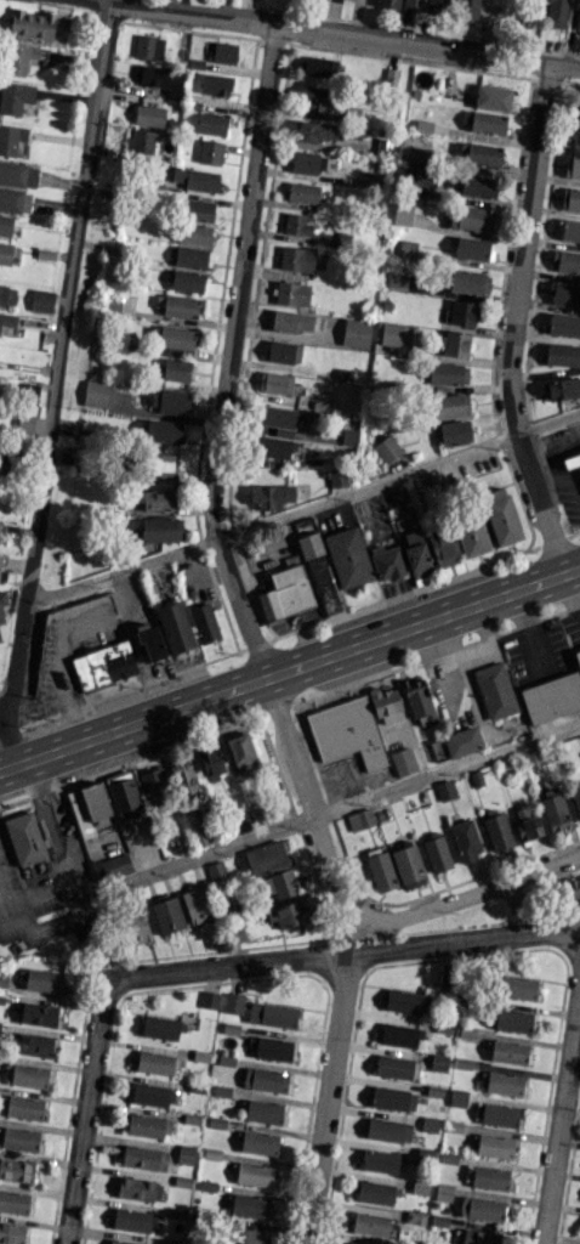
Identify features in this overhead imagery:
road: (124, 2)
building: (387, 4)
building: (413, 5)
building: (437, 6)
building: (467, 9)
building: (555, 12)
building: (36, 24)
road: (328, 32)
building: (148, 46)
building: (223, 52)
building: (19, 58)
building: (319, 66)
building: (158, 78)
building: (215, 84)
building: (15, 97)
building: (491, 97)
building: (313, 100)
building: (578, 108)
building: (148, 115)
building: (488, 121)
building: (211, 124)
building: (314, 131)
building: (575, 135)
building: (12, 140)
building: (140, 141)
building: (210, 152)
building: (481, 153)
building: (308, 162)
building: (573, 166)
building: (17, 174)
building: (195, 179)
building: (476, 185)
building: (302, 192)
building: (570, 199)
building: (15, 200)
building: (195, 209)
building: (476, 217)
building: (296, 224)
building: (5, 225)
building: (570, 230)
building: (194, 233)
building: (408, 248)
building: (471, 248)
building: (5, 253)
building: (189, 256)
building: (296, 259)
building: (565, 261)
building: (187, 281)
building: (468, 281)
building: (291, 293)
building: (7, 294)
building: (565, 294)
building: (41, 300)
building: (112, 301)
building: (177, 305)
building: (462, 312)
building: (7, 318)
building: (291, 321)
road: (517, 321)
building: (564, 324)
building: (356, 332)
building: (391, 333)
building: (172, 337)
building: (454, 344)
building: (283, 352)
building: (563, 355)
building: (176, 369)
road: (58, 373)
building: (448, 373)
building: (275, 383)
building: (561, 389)
building: (95, 394)
building: (167, 401)
building: (448, 406)
building: (279, 419)
building: (24, 423)
road: (548, 423)
building: (163, 430)
building: (453, 431)
road: (579, 435)
building: (349, 436)
road: (559, 442)
building: (388, 448)
building: (0, 451)
building: (572, 460)
building: (159, 463)
building: (336, 477)
road: (565, 477)
road: (215, 482)
road: (368, 485)
building: (399, 494)
building: (269, 496)
building: (158, 499)
building: (403, 515)
building: (500, 515)
building: (161, 530)
building: (471, 537)
building: (309, 544)
building: (443, 545)
building: (416, 554)
building: (348, 556)
building: (0, 559)
building: (387, 561)
road: (123, 569)
building: (285, 593)
building: (1, 604)
building: (205, 622)
building: (176, 627)
road: (68, 629)
building: (150, 643)
building: (578, 656)
building: (103, 665)
road: (289, 668)
building: (495, 690)
building: (552, 697)
building: (348, 733)
building: (462, 741)
building: (239, 747)
road: (6, 748)
building: (404, 762)
building: (211, 763)
building: (183, 776)
building: (154, 790)
building: (444, 790)
building: (123, 795)
building: (575, 797)
building: (96, 804)
road: (346, 804)
building: (553, 808)
building: (197, 827)
building: (528, 827)
building: (497, 829)
building: (24, 838)
building: (465, 839)
building: (436, 852)
building: (266, 858)
building: (110, 866)
building: (408, 866)
building: (215, 870)
building: (380, 871)
building: (283, 883)
road: (74, 888)
building: (572, 888)
road: (470, 892)
building: (197, 904)
building: (288, 914)
building: (166, 915)
building: (135, 927)
road: (358, 935)
road: (97, 948)
road: (343, 956)
building: (42, 980)
building: (4, 982)
building: (516, 986)
building: (210, 1000)
building: (409, 1001)
building: (234, 1003)
building: (38, 1013)
building: (272, 1014)
building: (513, 1020)
building: (161, 1027)
building: (231, 1028)
building: (400, 1035)
building: (33, 1045)
building: (273, 1048)
building: (507, 1052)
building: (201, 1056)
building: (227, 1059)
building: (438, 1062)
building: (154, 1063)
building: (397, 1067)
building: (25, 1075)
building: (265, 1079)
building: (500, 1082)
building: (153, 1095)
building: (457, 1097)
building: (393, 1098)
road: (329, 1099)
building: (23, 1107)
road: (559, 1109)
road: (87, 1110)
building: (262, 1112)
building: (499, 1114)
building: (147, 1126)
building: (387, 1130)
building: (18, 1138)
building: (258, 1143)
building: (491, 1146)
building: (186, 1153)
building: (143, 1158)
building: (381, 1160)
building: (16, 1170)
building: (255, 1174)
building: (485, 1176)
building: (138, 1188)
building: (376, 1192)
building: (443, 1192)
building: (13, 1201)
building: (246, 1205)
building: (481, 1208)
building: (131, 1220)
building: (370, 1223)
building: (11, 1233)
building: (248, 1235)
building: (476, 1237)
building: (123, 1242)
building: (351, 1243)

